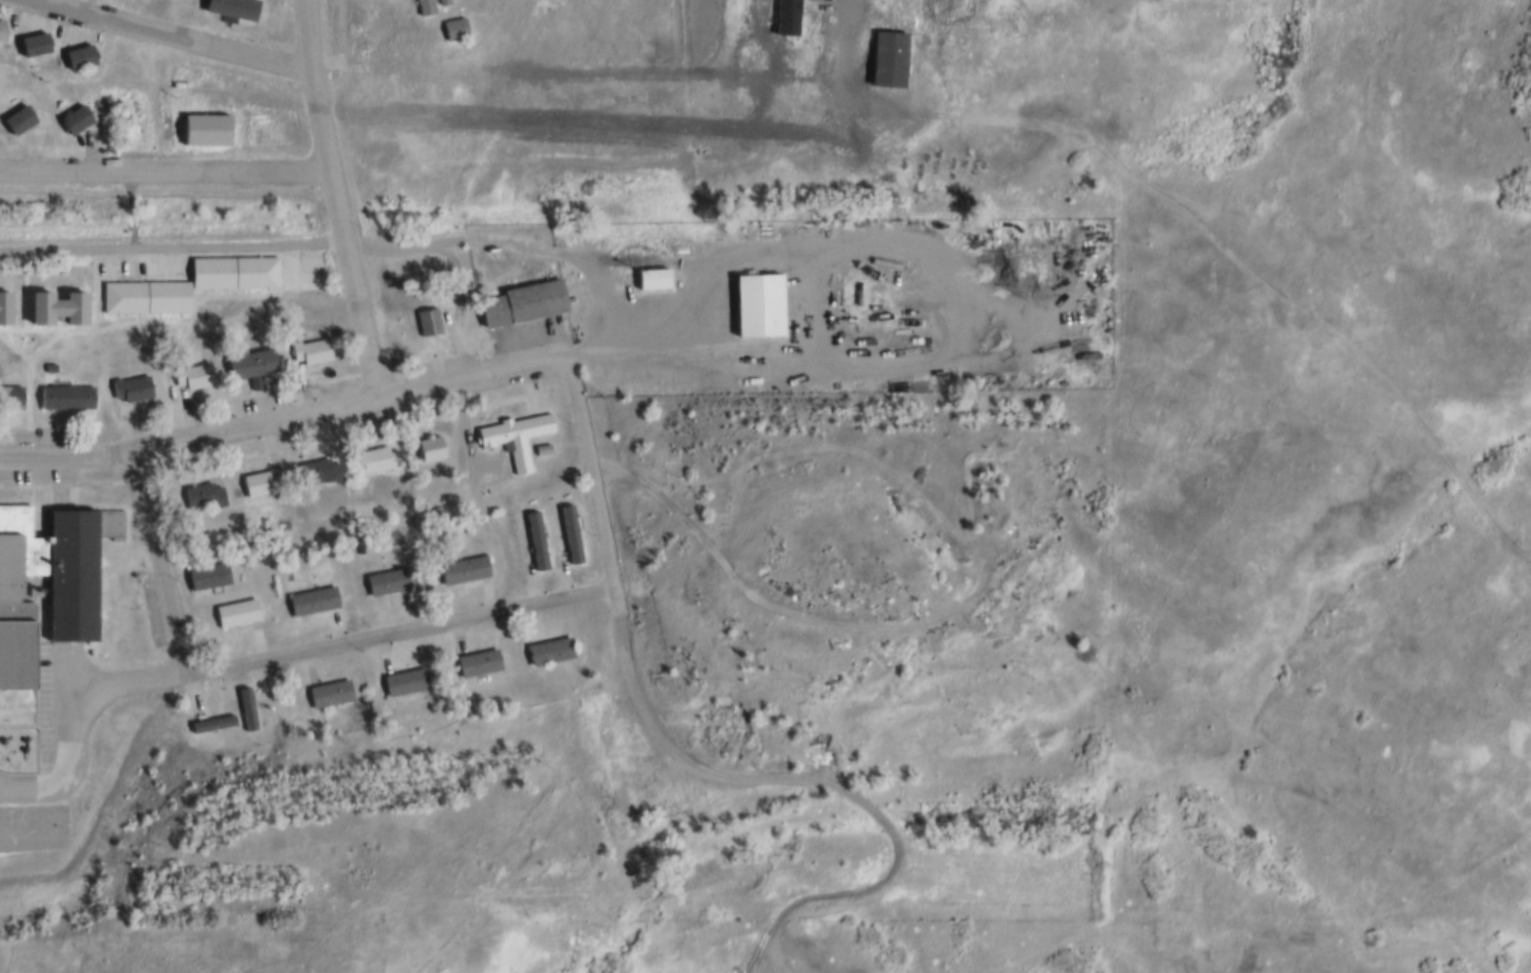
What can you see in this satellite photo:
building: (441, 3)
building: (232, 7)
building: (422, 8)
building: (453, 29)
building: (0, 34)
road: (161, 38)
building: (33, 45)
road: (471, 50)
building: (78, 57)
building: (18, 118)
building: (75, 118)
building: (204, 131)
road: (165, 176)
road: (335, 196)
road: (528, 247)
road: (176, 251)
building: (233, 271)
building: (653, 272)
building: (142, 297)
building: (522, 299)
building: (758, 299)
road: (915, 308)
building: (3, 310)
building: (55, 310)
building: (427, 319)
building: (311, 348)
building: (249, 362)
building: (196, 374)
building: (131, 386)
building: (10, 393)
building: (65, 394)
road: (284, 412)
building: (515, 431)
building: (542, 442)
building: (431, 443)
building: (374, 456)
building: (317, 469)
road: (594, 472)
building: (259, 480)
road: (309, 484)
building: (202, 492)
road: (494, 494)
building: (569, 532)
building: (535, 537)
road: (159, 561)
building: (462, 567)
building: (206, 572)
building: (387, 577)
building: (311, 596)
building: (236, 607)
building: (71, 621)
road: (624, 622)
road: (817, 622)
road: (402, 636)
building: (547, 650)
building: (477, 659)
road: (720, 676)
building: (404, 677)
road: (130, 680)
building: (330, 688)
parking lot: (64, 695)
building: (246, 705)
building: (211, 720)
building: (215, 720)
building: (599, 727)
road: (73, 748)
road: (842, 789)
park: (33, 817)
road: (497, 841)
road: (281, 963)

